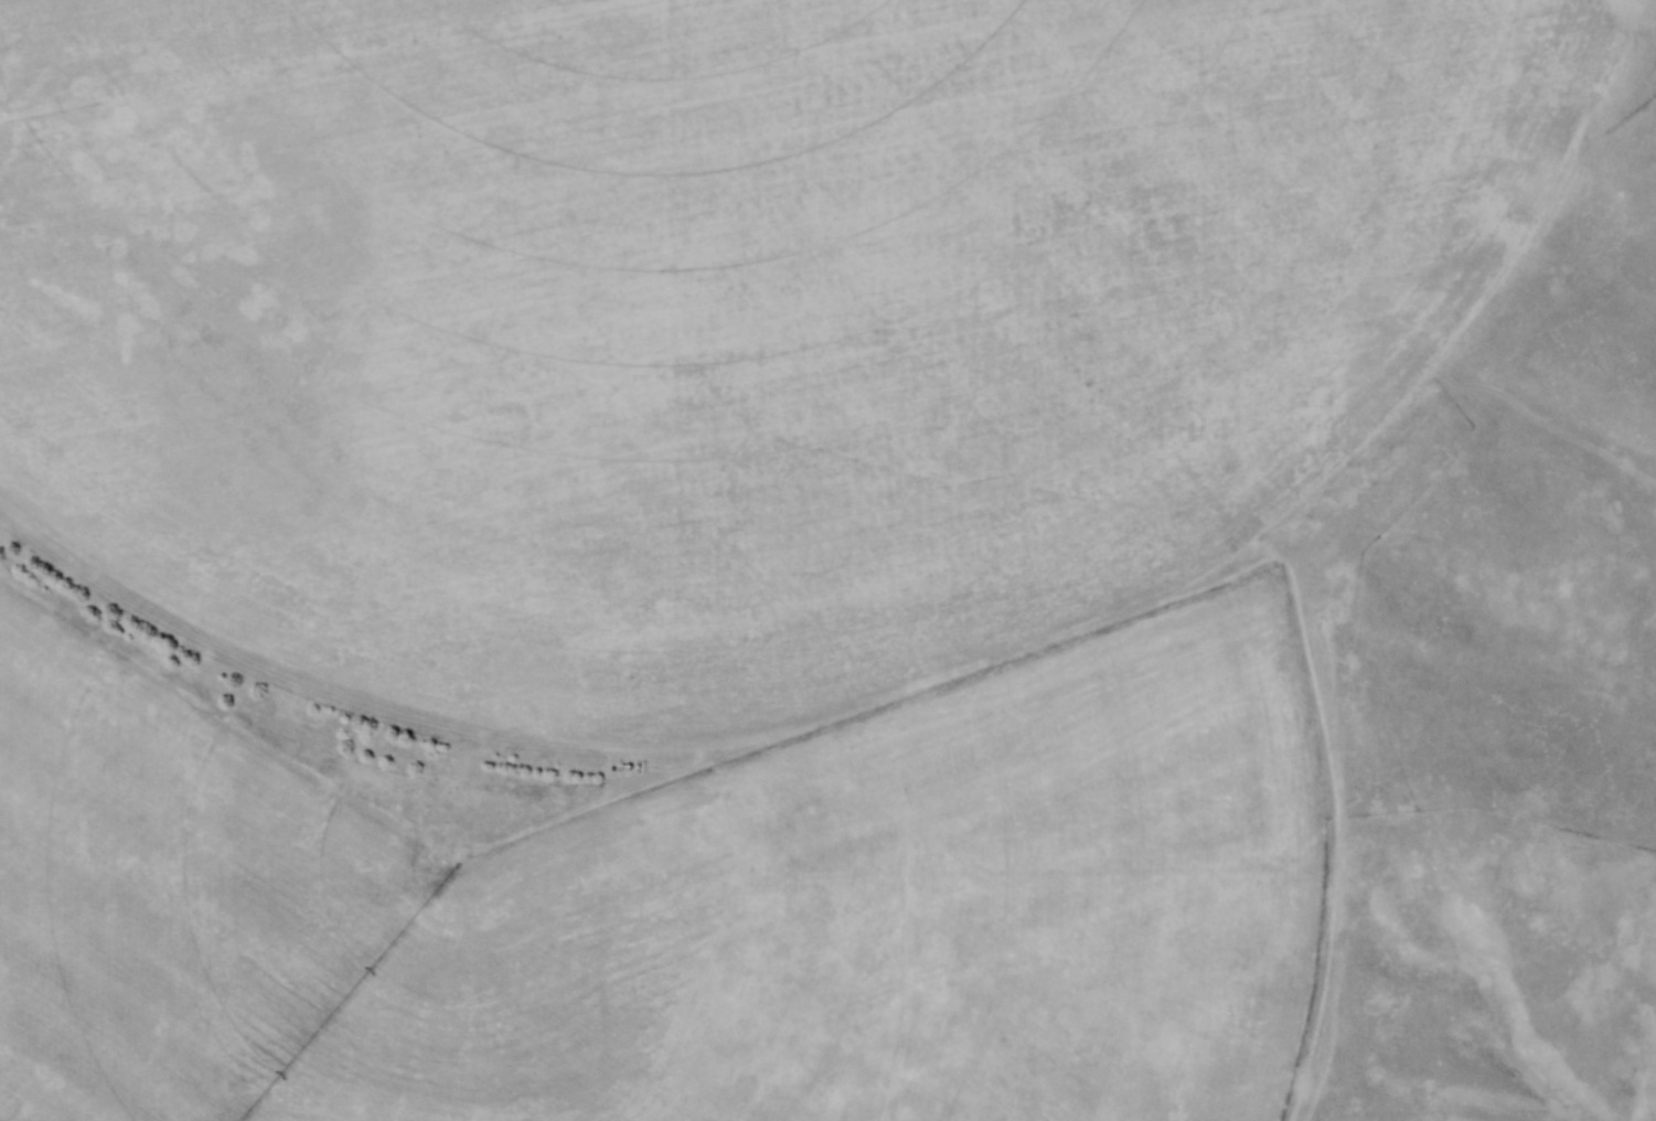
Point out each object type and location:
crop: (723, 310)

